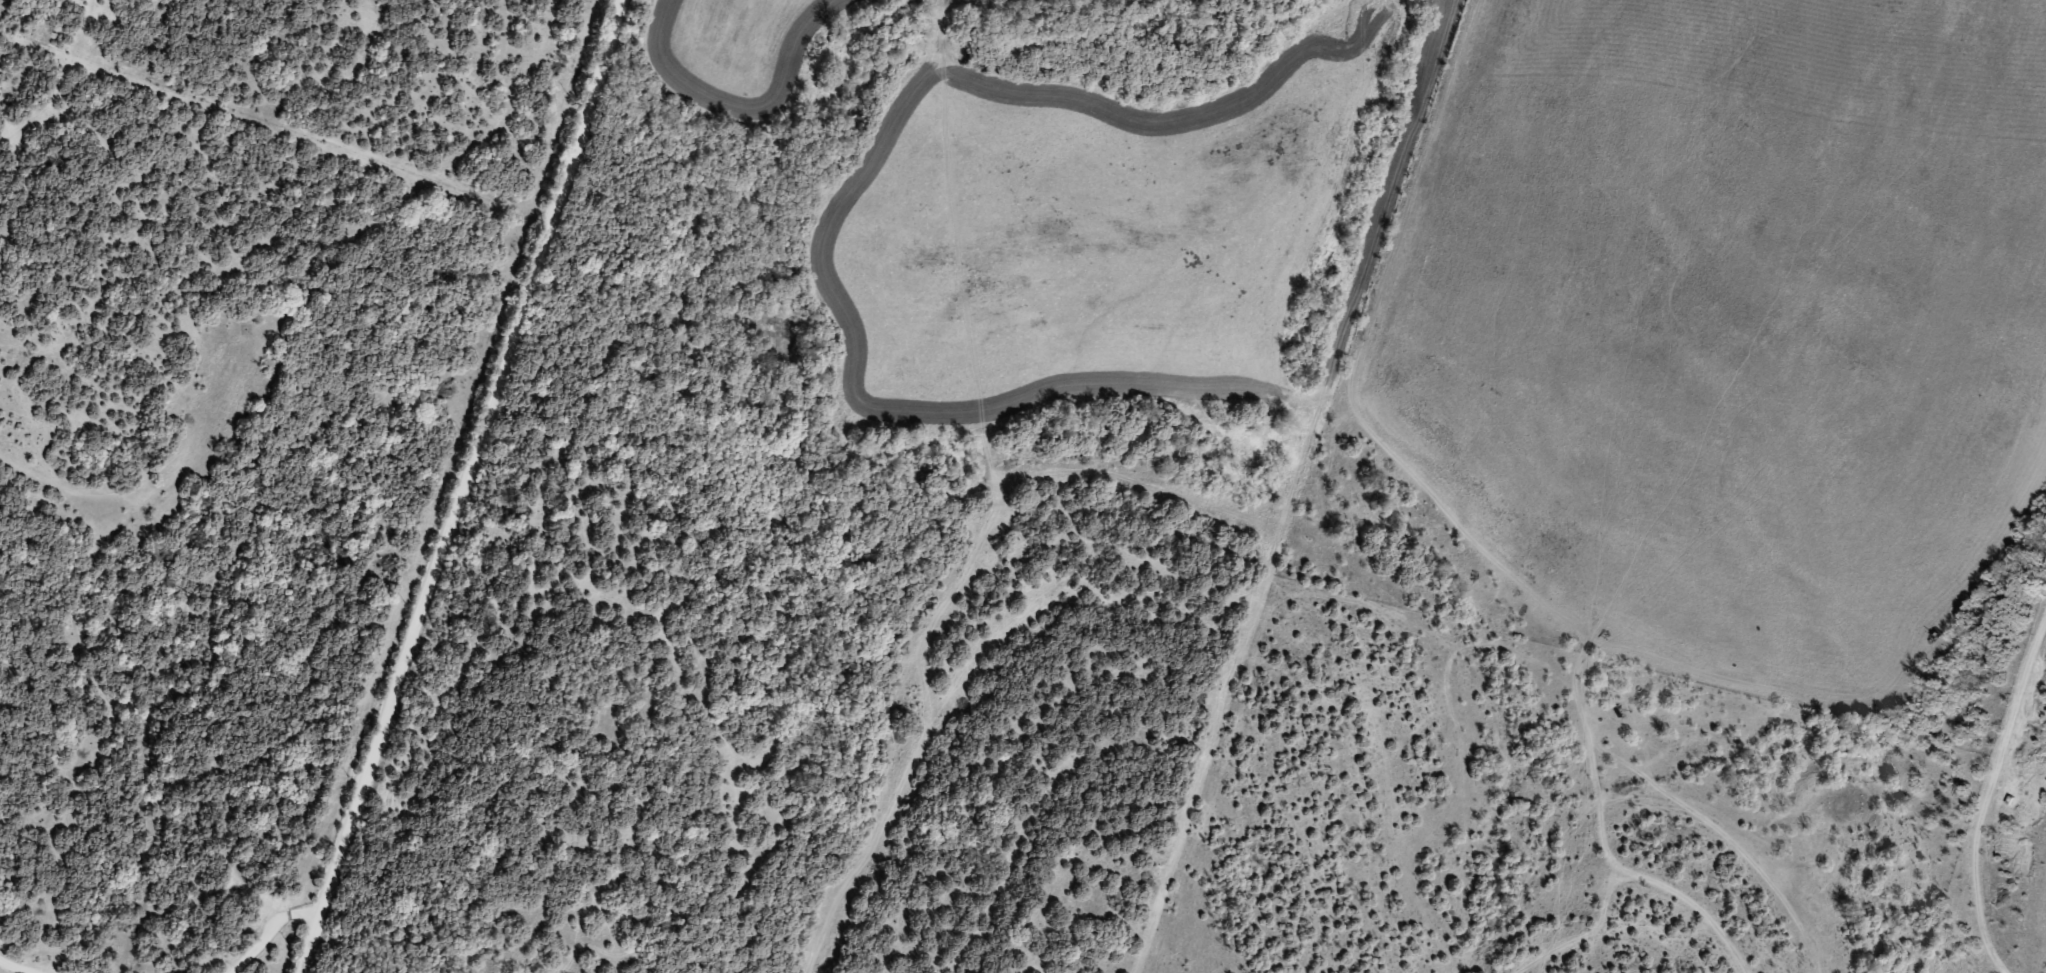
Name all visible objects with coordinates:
road: (456, 485)

